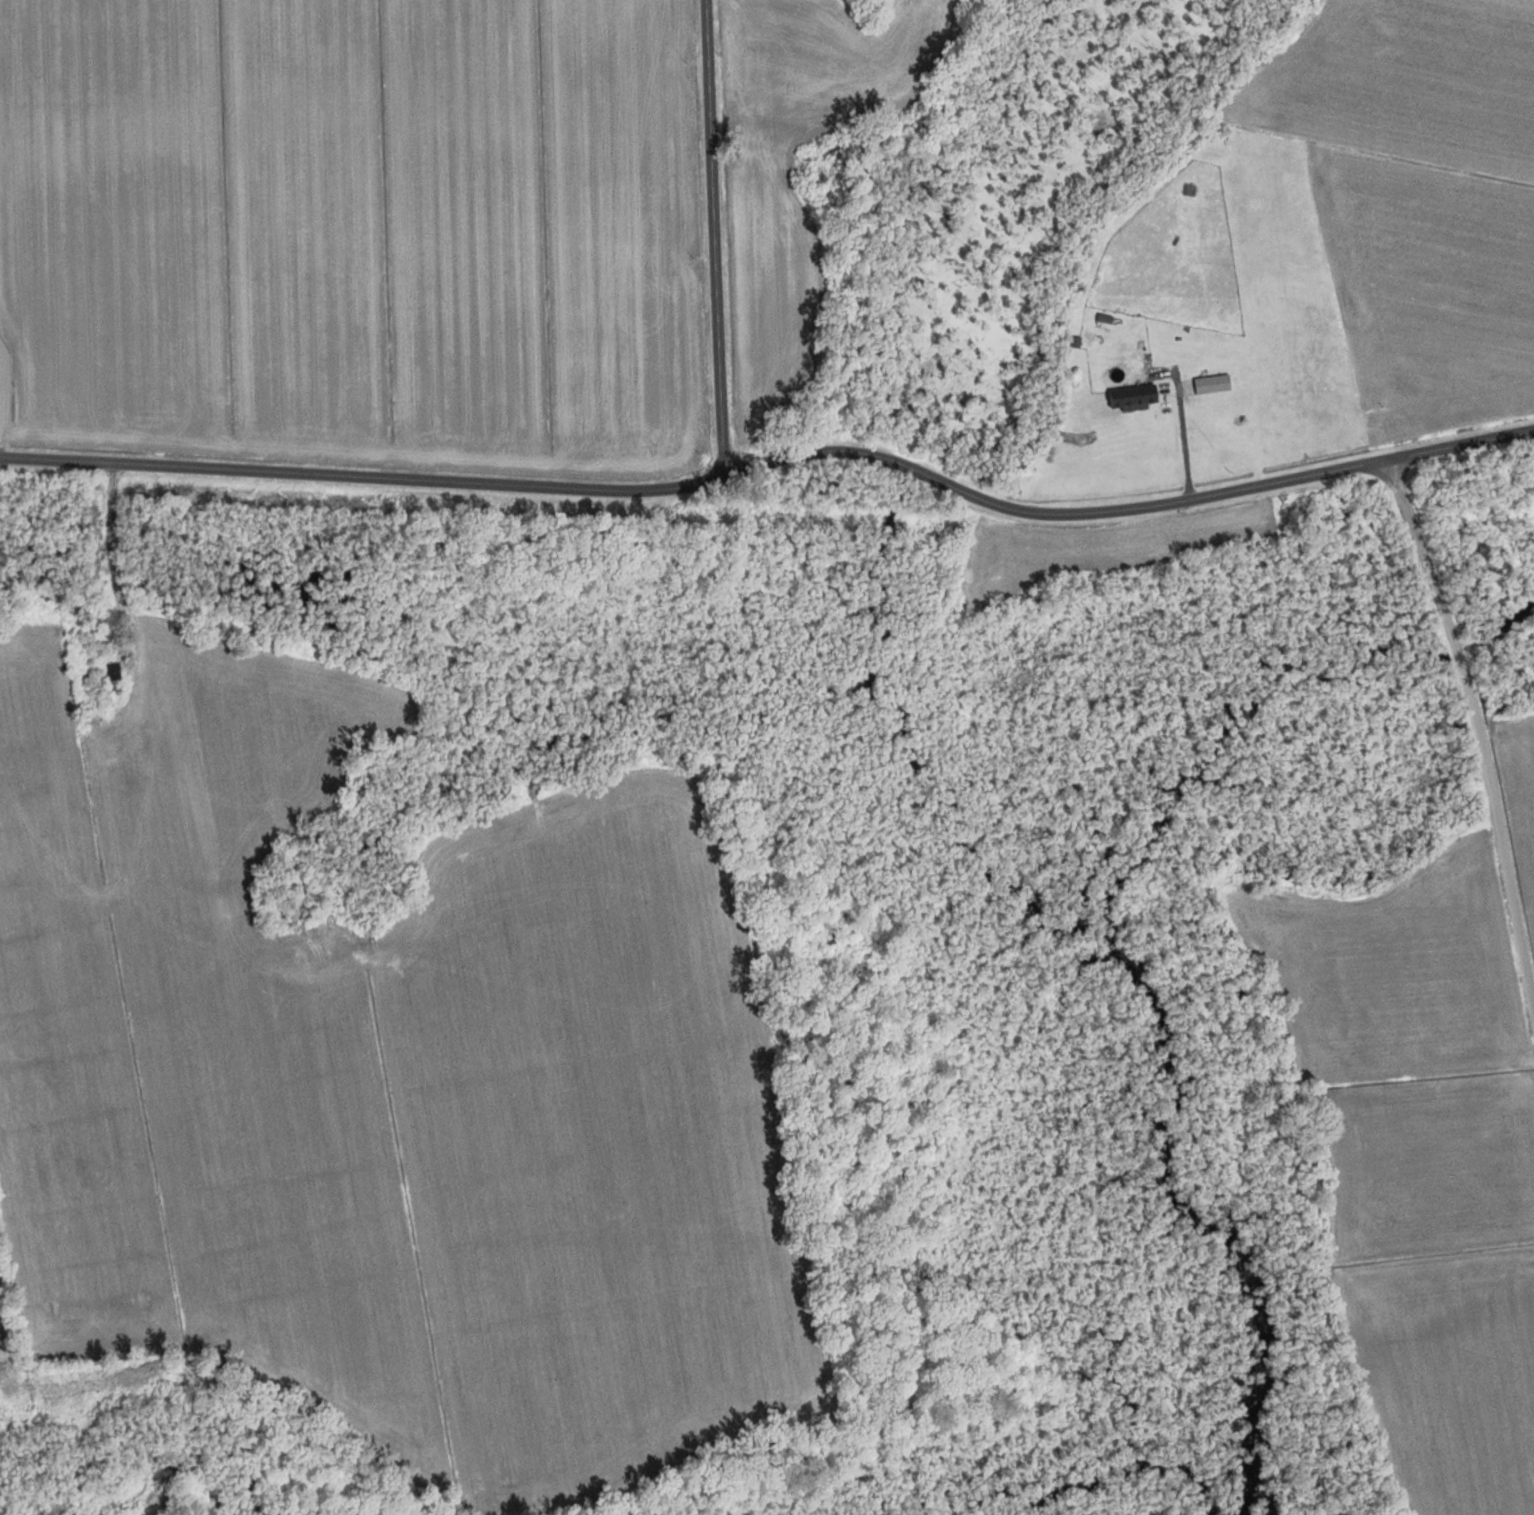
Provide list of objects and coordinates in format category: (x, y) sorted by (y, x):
road: (710, 242)
building: (1209, 383)
building: (1131, 396)
road: (1181, 448)
road: (775, 470)
building: (111, 680)
road: (1475, 765)

